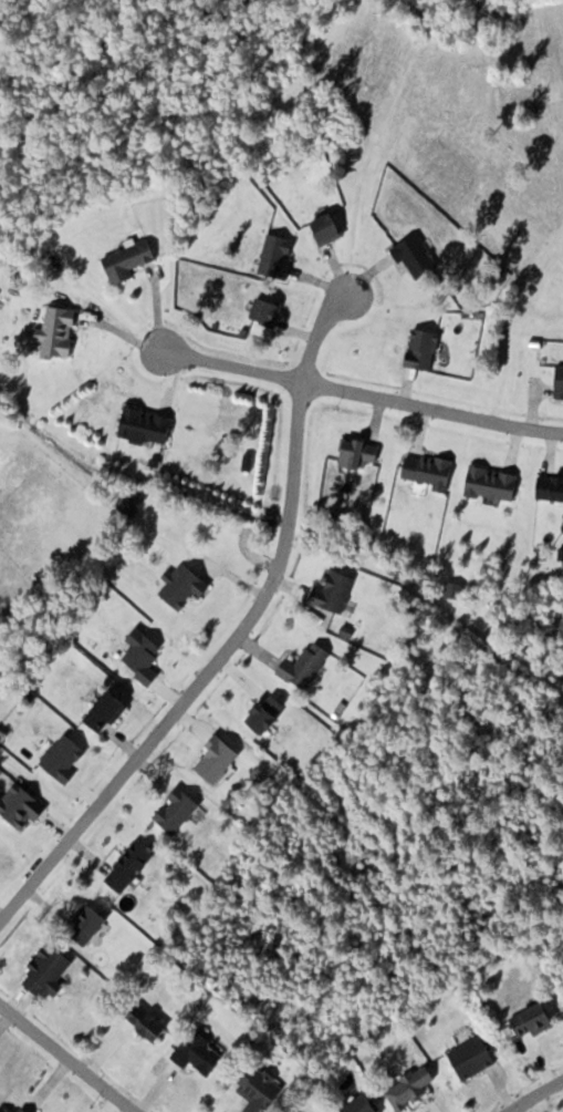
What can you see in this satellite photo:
building: (330, 226)
building: (278, 254)
building: (418, 255)
building: (129, 260)
building: (269, 309)
road: (317, 328)
building: (61, 331)
building: (425, 347)
building: (560, 382)
road: (361, 392)
building: (148, 424)
building: (361, 452)
building: (431, 470)
building: (494, 483)
building: (551, 487)
building: (134, 498)
building: (187, 586)
building: (336, 590)
building: (146, 655)
building: (306, 666)
road: (204, 673)
building: (108, 710)
building: (269, 714)
building: (65, 758)
building: (217, 759)
building: (178, 810)
building: (132, 865)
building: (88, 924)
building: (50, 971)
building: (534, 1020)
building: (149, 1022)
building: (200, 1052)
building: (475, 1056)
road: (64, 1059)
building: (411, 1087)
building: (261, 1089)
road: (540, 1098)
building: (364, 1105)
building: (28, 1110)

